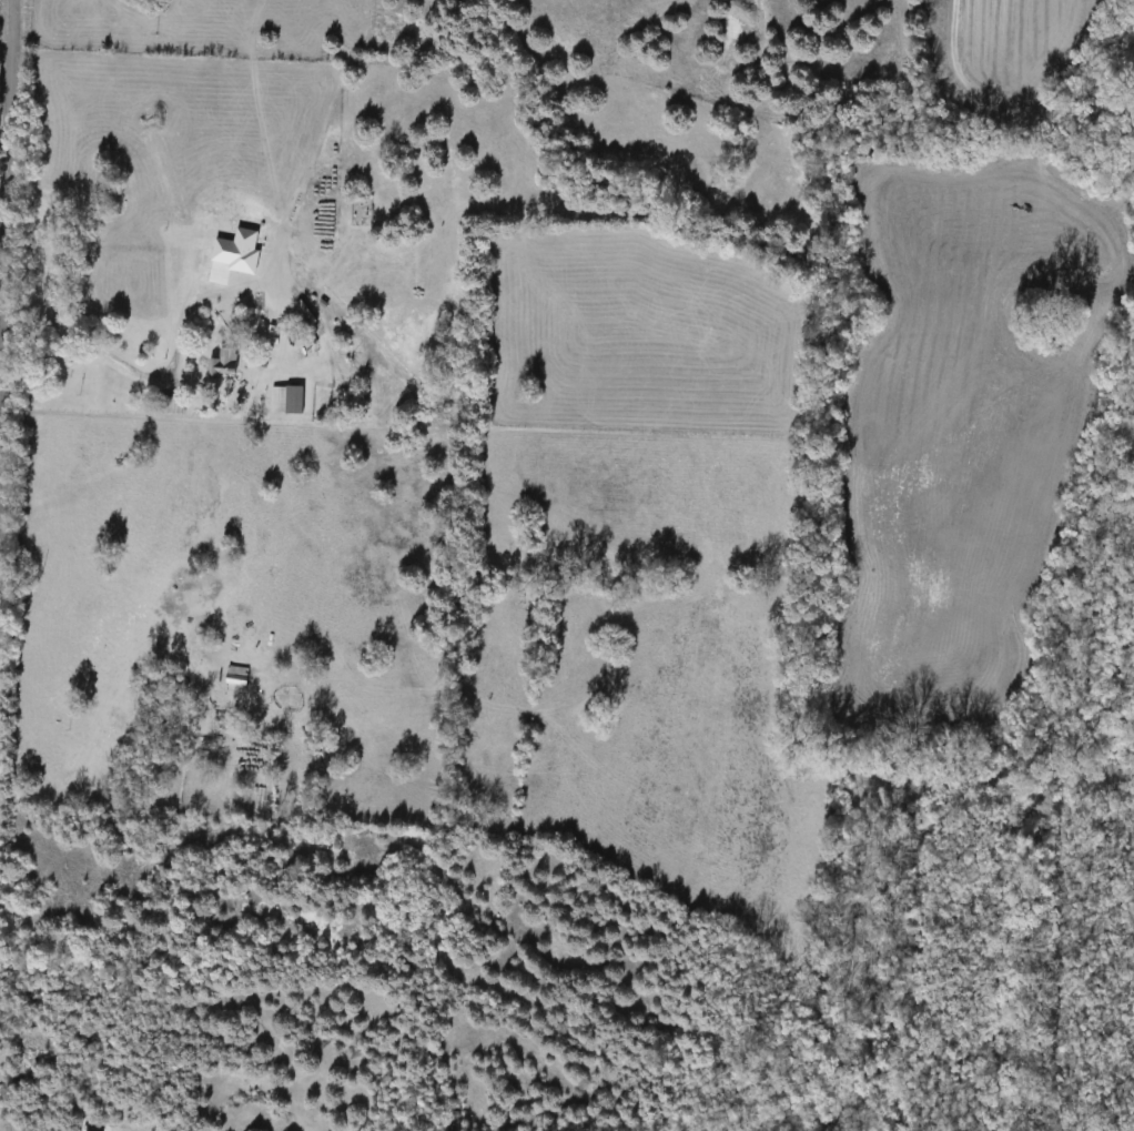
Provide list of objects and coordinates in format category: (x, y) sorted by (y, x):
road: (6, 204)
building: (221, 364)
road: (144, 373)
building: (284, 400)
building: (168, 406)
building: (233, 679)

